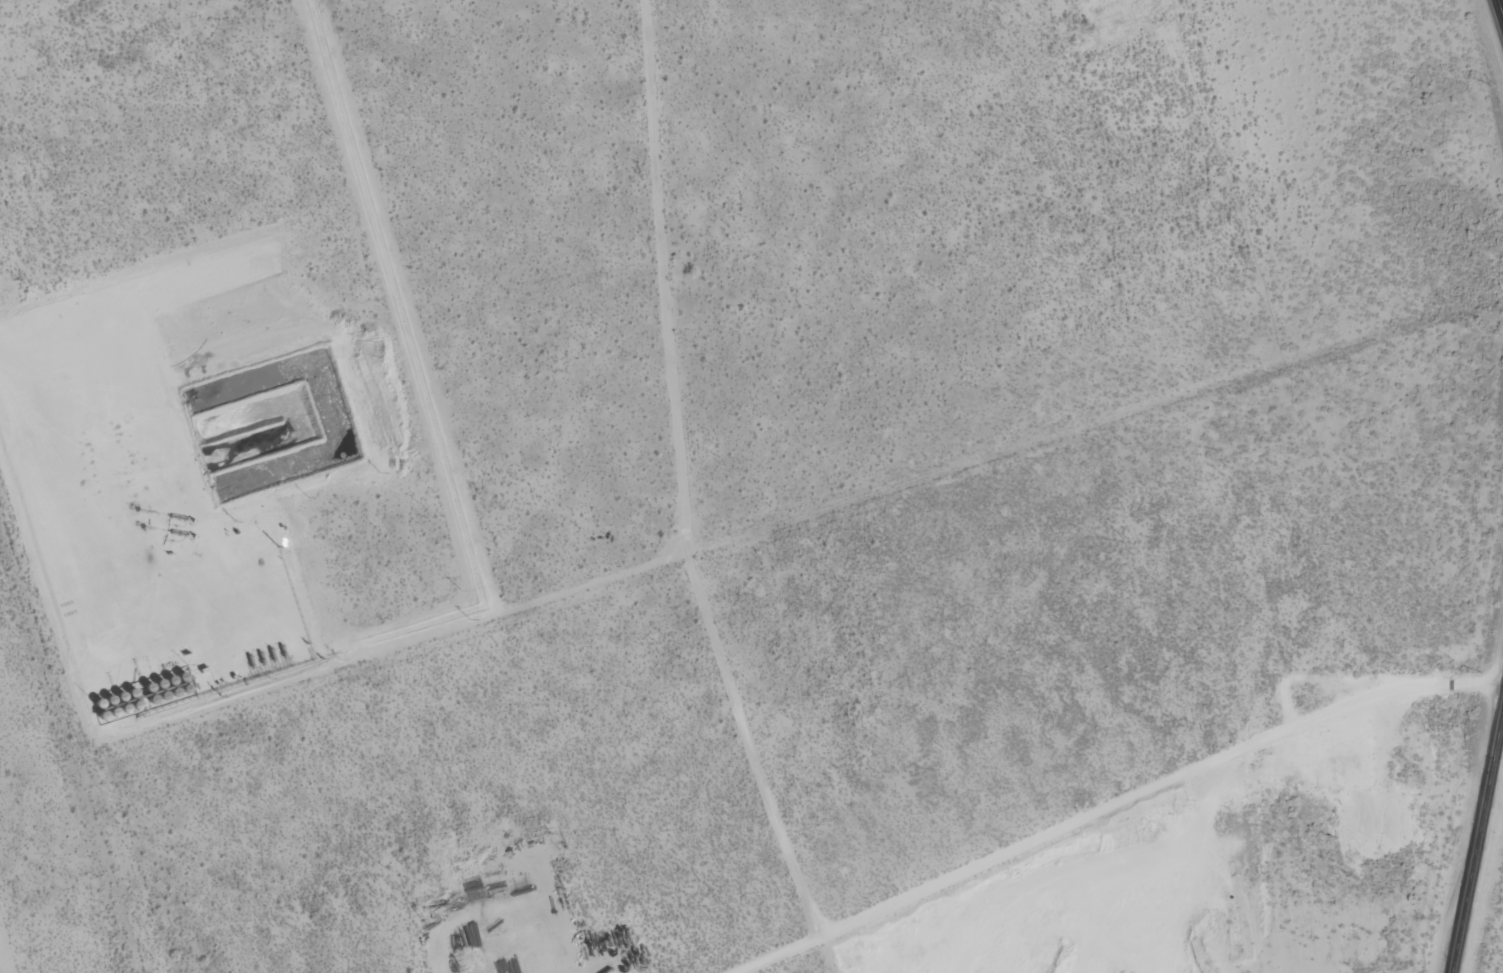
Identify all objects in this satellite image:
road: (1500, 7)
road: (1477, 839)

